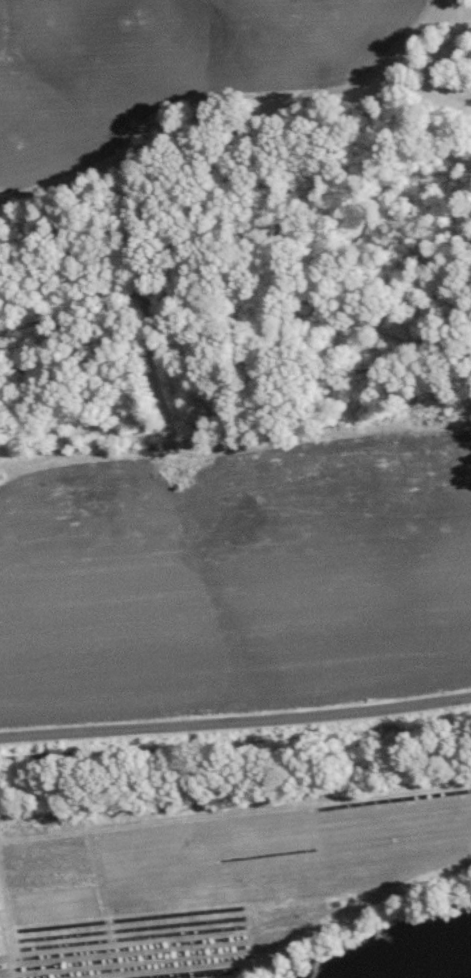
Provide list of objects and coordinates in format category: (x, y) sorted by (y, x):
road: (235, 727)

